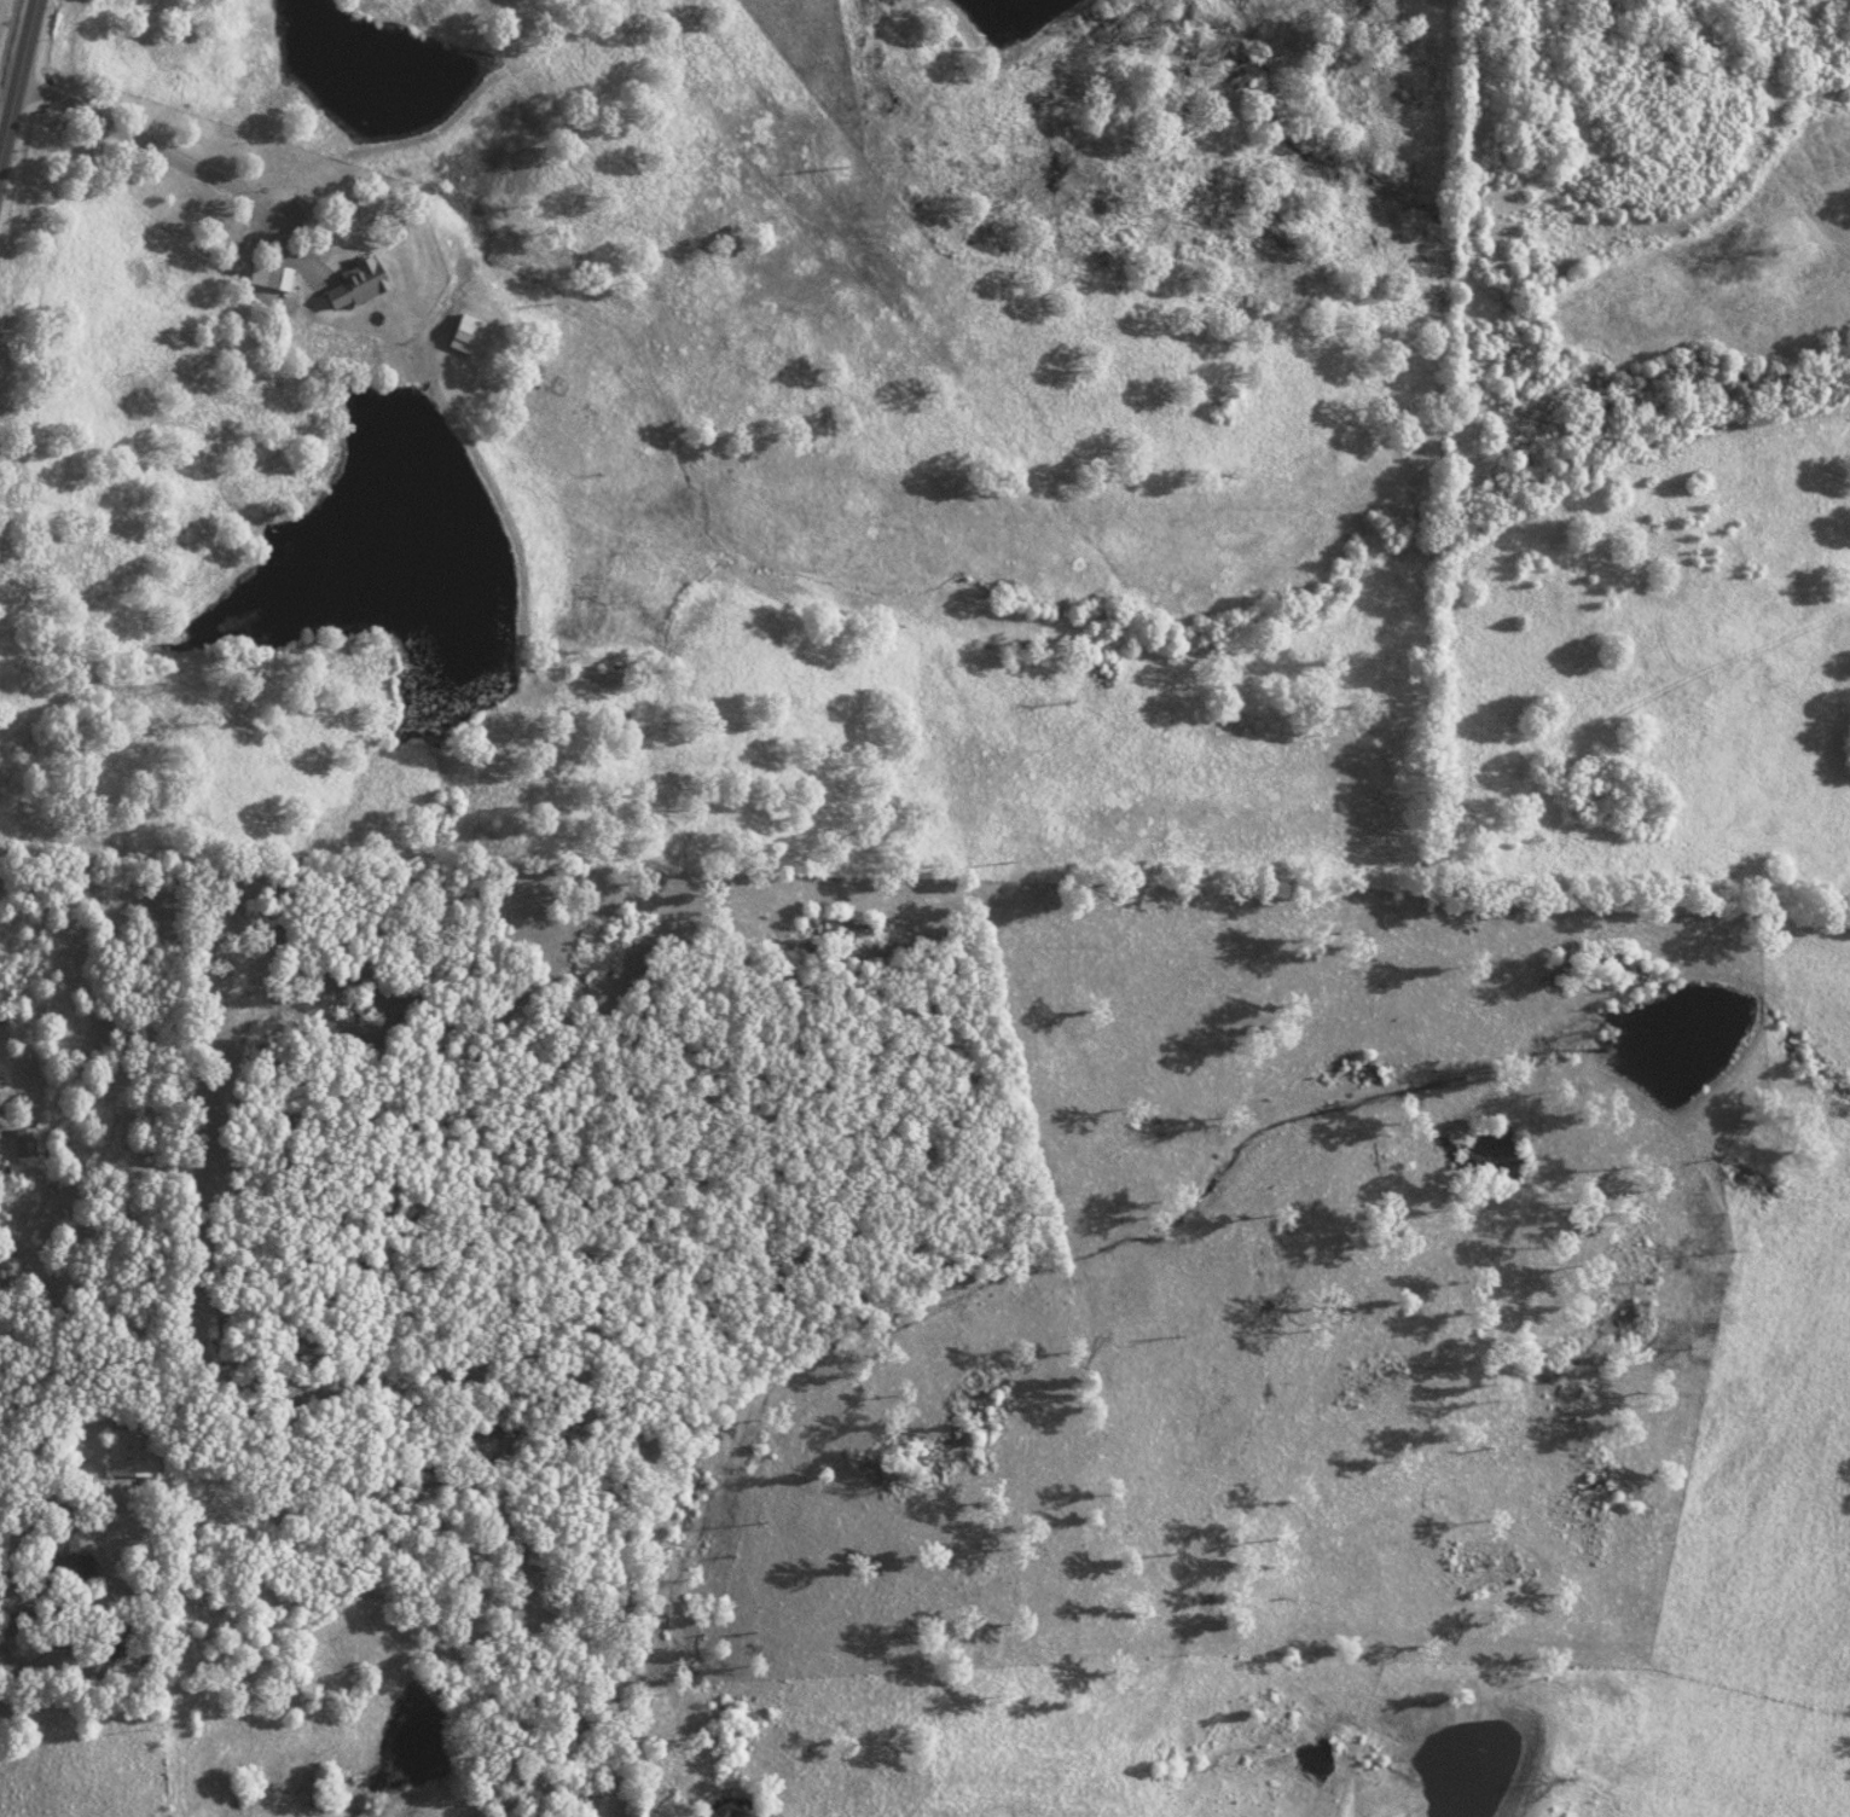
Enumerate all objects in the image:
road: (11, 50)
power tower: (833, 178)
building: (276, 277)
building: (353, 283)
building: (464, 332)
power tower: (992, 864)
building: (126, 1452)
building: (60, 1555)
power tower: (1162, 1555)
building: (105, 1649)

